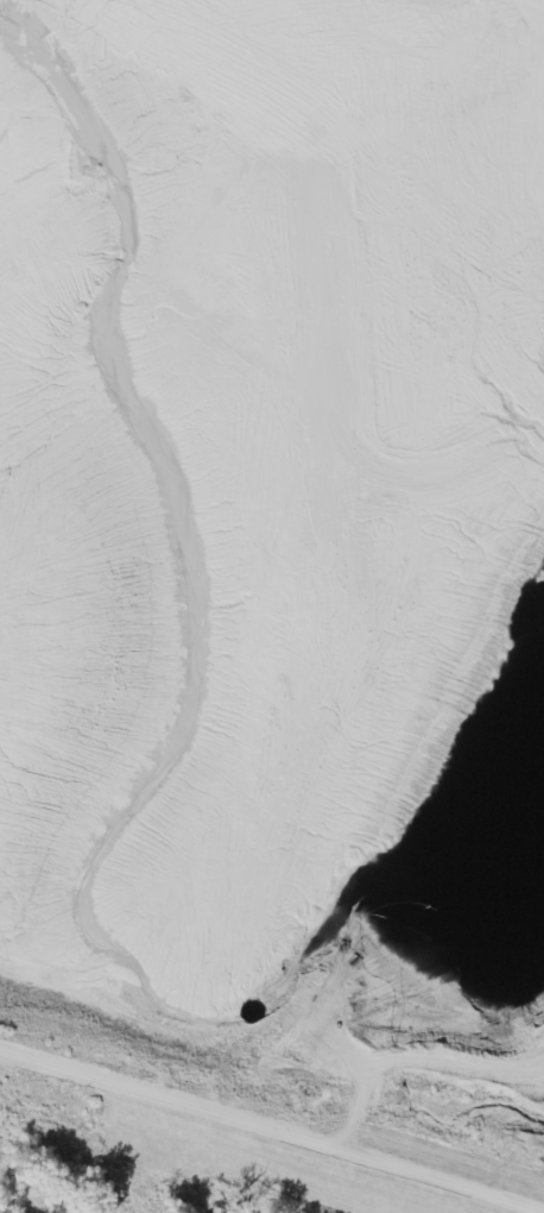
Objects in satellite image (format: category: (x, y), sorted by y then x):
quarry: (279, 542)

